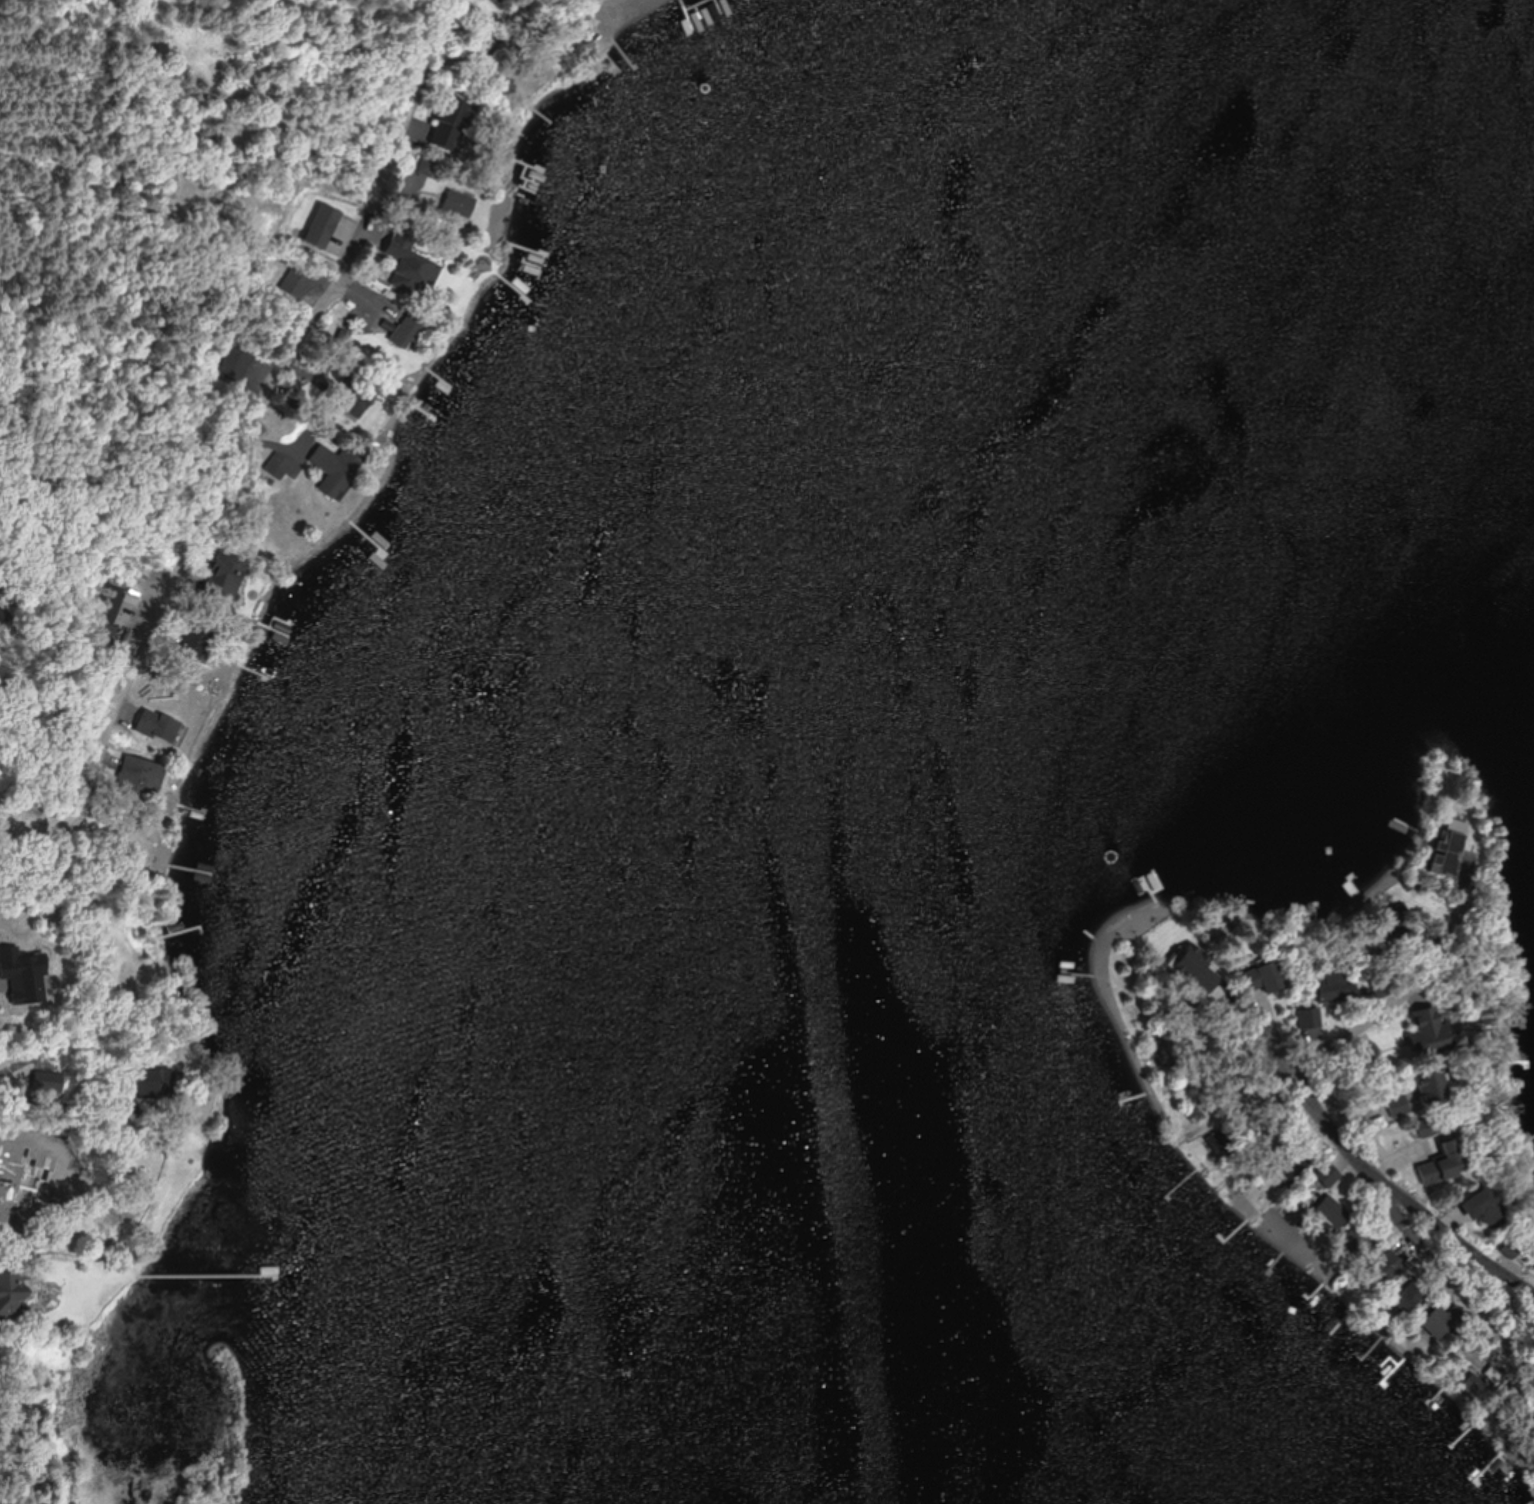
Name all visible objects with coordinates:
road: (608, 14)
building: (449, 121)
building: (457, 203)
building: (409, 263)
building: (300, 279)
building: (408, 329)
road: (246, 450)
building: (335, 462)
building: (224, 580)
building: (196, 641)
building: (152, 722)
building: (1454, 824)
building: (1391, 935)
building: (1184, 962)
building: (1270, 977)
building: (1331, 987)
building: (1311, 1016)
road: (1361, 1026)
building: (1433, 1029)
road: (1253, 1034)
building: (1166, 1048)
building: (48, 1082)
building: (151, 1082)
building: (1434, 1087)
building: (1399, 1105)
building: (1430, 1125)
building: (1217, 1141)
building: (1293, 1163)
building: (1446, 1164)
building: (1328, 1174)
building: (1486, 1207)
building: (1332, 1211)
road: (1391, 1212)
building: (21, 1230)
building: (1358, 1244)
building: (1512, 1248)
building: (1387, 1265)
building: (1410, 1296)
building: (11, 1297)
road: (1453, 1306)
building: (1445, 1320)
building: (1474, 1385)
building: (1526, 1452)

